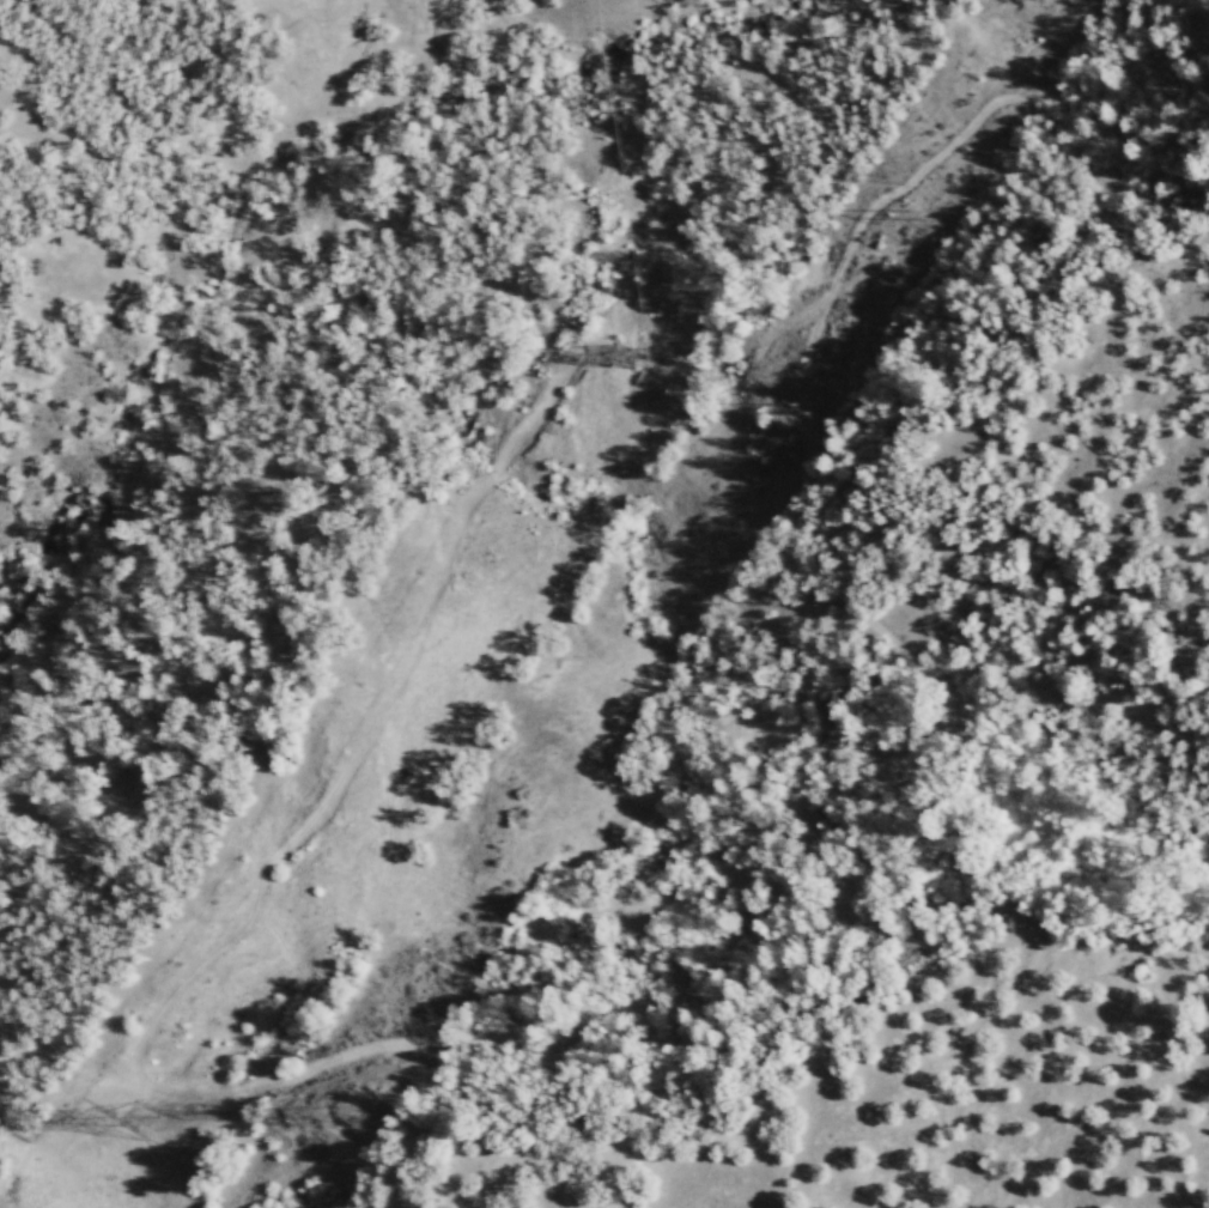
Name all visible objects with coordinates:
power tower: (910, 178)
power tower: (941, 229)
power tower: (630, 357)
power tower: (777, 387)
power tower: (815, 409)
power tower: (310, 1112)
power tower: (364, 1117)
power tower: (152, 1125)

